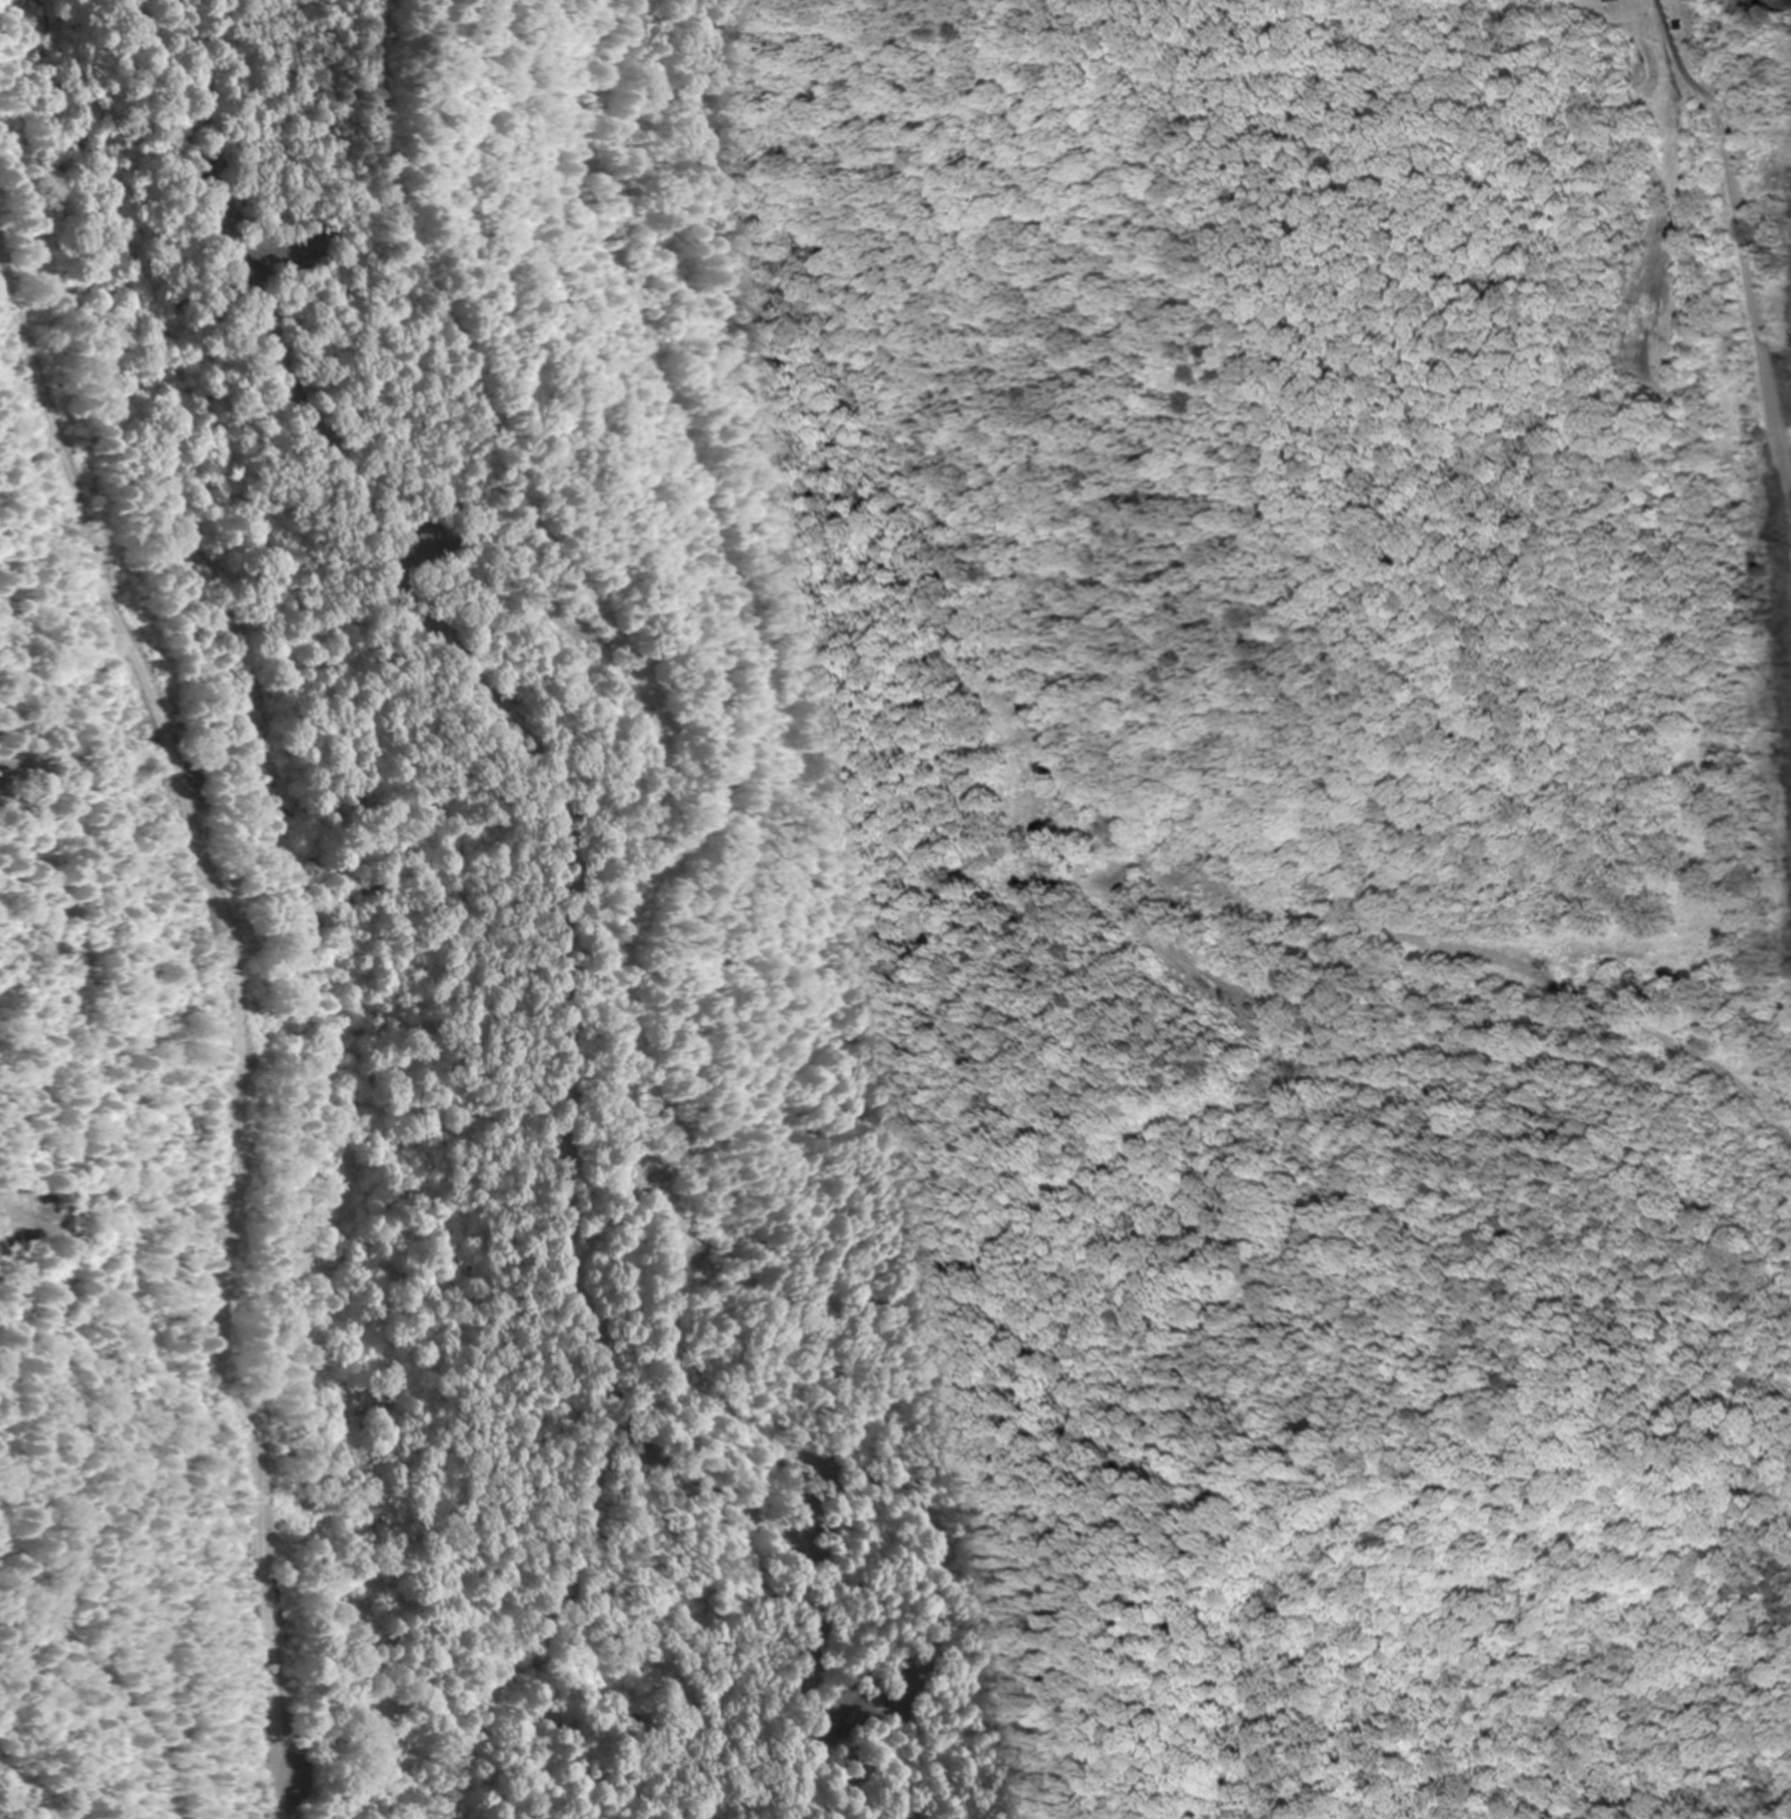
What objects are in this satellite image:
road: (1745, 211)
road: (1499, 1009)

